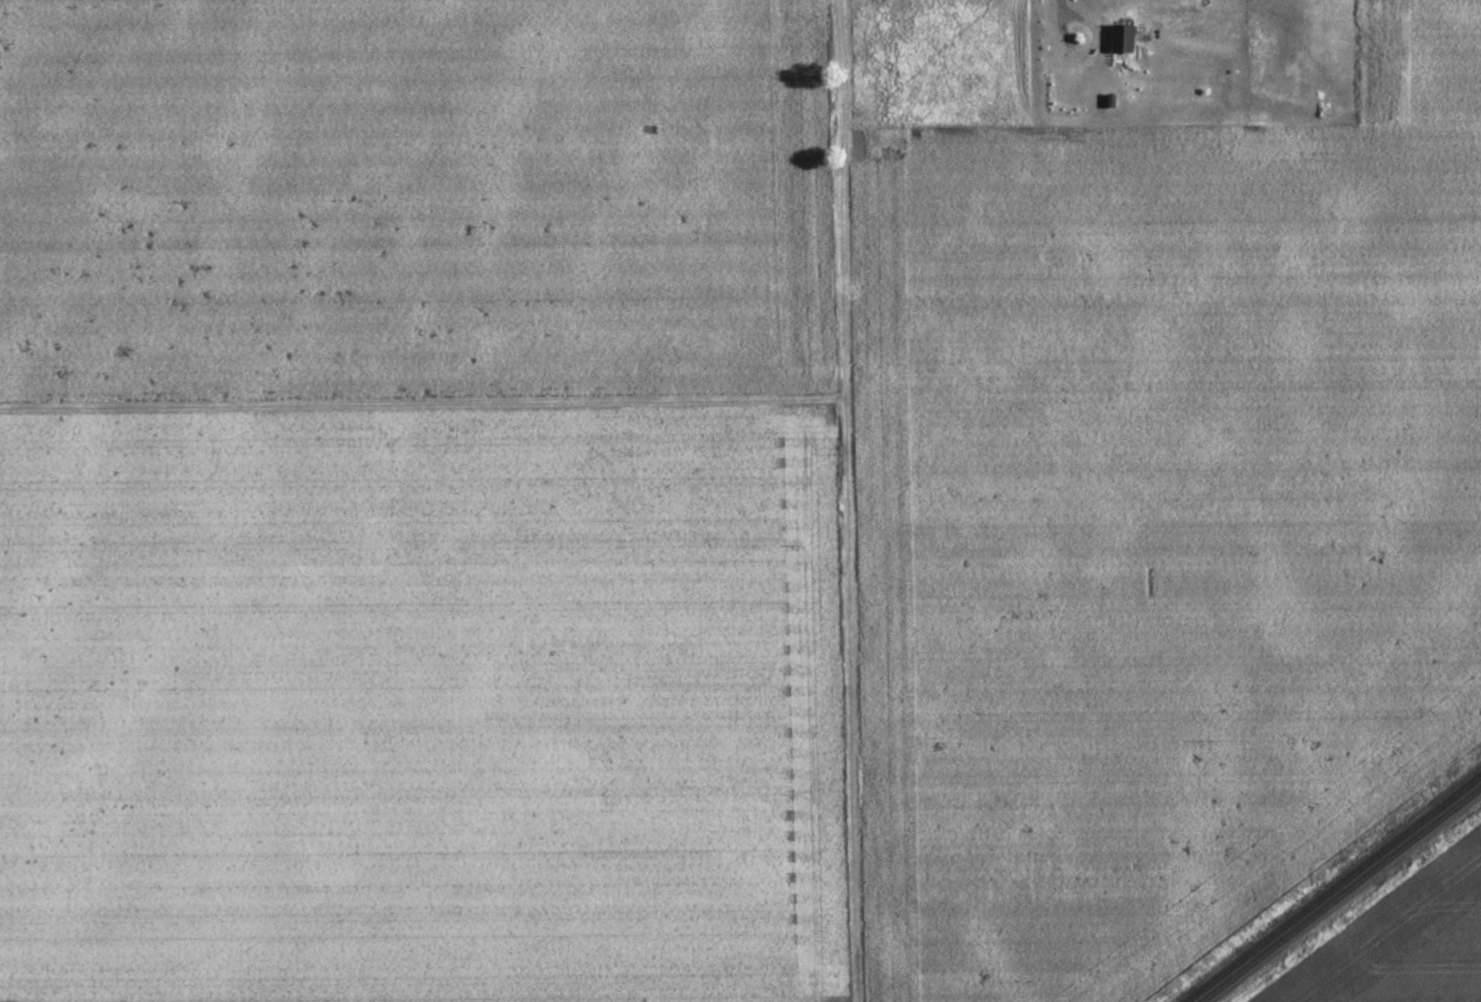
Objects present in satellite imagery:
building: (1121, 43)
railway: (1335, 890)
railway: (1342, 896)

